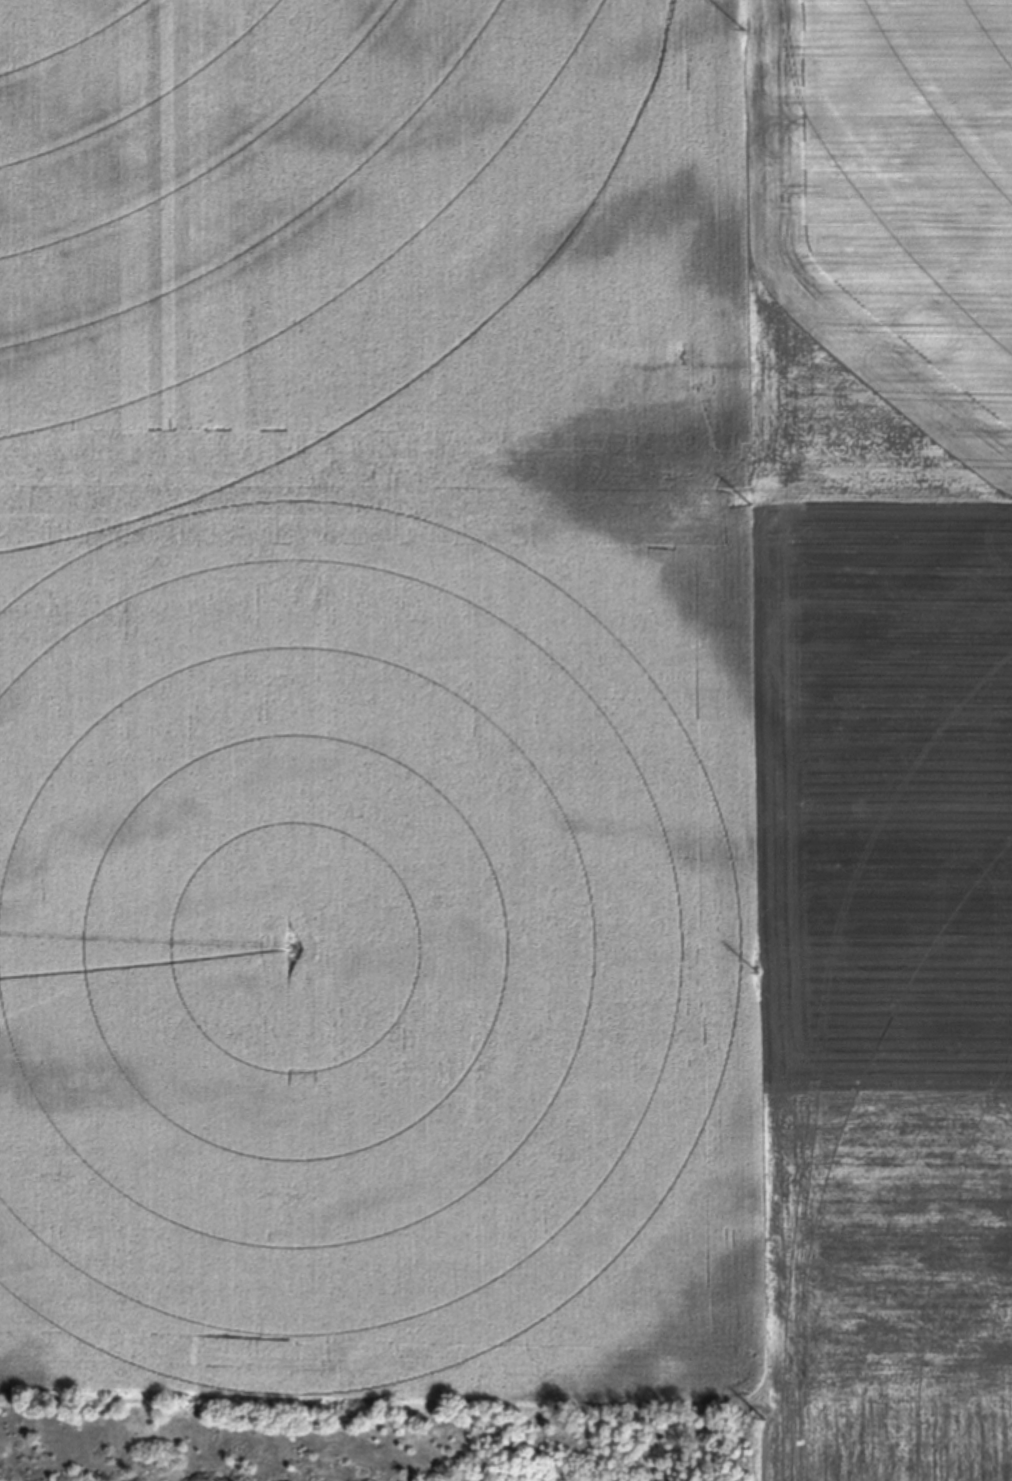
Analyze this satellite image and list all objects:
quarry: (359, 1444)

